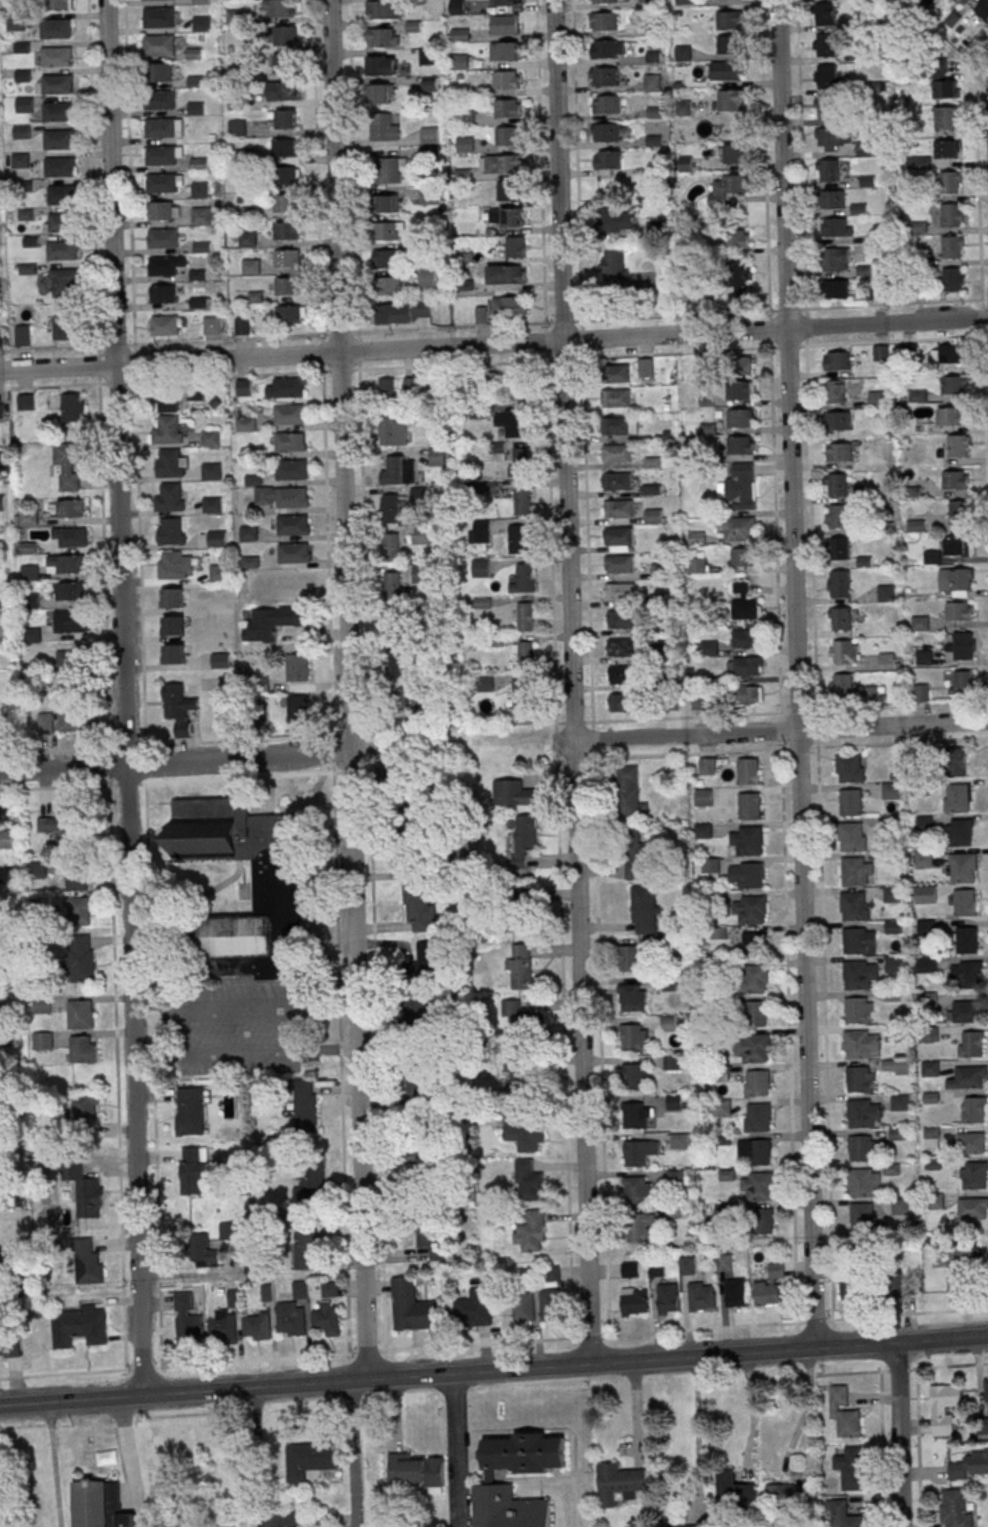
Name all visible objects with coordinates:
building: (157, 0)
building: (606, 1)
building: (966, 1)
building: (505, 3)
building: (60, 5)
building: (283, 8)
building: (384, 9)
building: (986, 9)
building: (823, 14)
building: (159, 17)
building: (729, 20)
building: (602, 21)
building: (15, 22)
building: (201, 23)
building: (505, 25)
building: (56, 28)
building: (286, 33)
building: (459, 35)
building: (381, 36)
building: (729, 44)
building: (827, 44)
building: (160, 45)
building: (607, 49)
building: (507, 51)
building: (682, 53)
building: (428, 56)
building: (57, 57)
building: (459, 61)
building: (283, 65)
building: (381, 65)
building: (726, 71)
building: (159, 72)
building: (603, 76)
building: (827, 76)
building: (507, 80)
building: (58, 84)
building: (430, 86)
building: (945, 89)
building: (284, 91)
building: (382, 93)
building: (160, 100)
building: (729, 101)
building: (24, 104)
building: (606, 104)
building: (508, 108)
building: (824, 108)
building: (58, 111)
building: (465, 117)
building: (948, 117)
building: (286, 119)
building: (160, 127)
building: (383, 127)
building: (237, 128)
building: (608, 132)
building: (429, 135)
building: (509, 135)
building: (59, 139)
building: (832, 139)
building: (465, 144)
building: (284, 147)
building: (947, 148)
building: (736, 153)
building: (160, 155)
building: (608, 159)
building: (20, 160)
building: (501, 164)
building: (60, 166)
building: (391, 170)
building: (827, 170)
building: (287, 175)
road: (93, 176)
building: (950, 182)
building: (161, 183)
building: (729, 185)
building: (200, 190)
building: (507, 191)
building: (61, 194)
building: (428, 196)
building: (832, 199)
building: (285, 202)
building: (387, 204)
building: (162, 210)
building: (951, 215)
building: (201, 216)
building: (506, 218)
building: (617, 218)
building: (59, 222)
building: (835, 227)
building: (285, 230)
building: (388, 230)
building: (163, 237)
building: (736, 238)
building: (247, 239)
building: (915, 239)
building: (508, 244)
building: (952, 247)
building: (61, 249)
building: (287, 258)
building: (384, 258)
building: (835, 259)
building: (165, 265)
building: (251, 266)
building: (614, 266)
building: (509, 273)
building: (741, 273)
building: (427, 279)
building: (953, 279)
building: (63, 283)
building: (389, 285)
building: (287, 286)
building: (835, 289)
building: (162, 293)
building: (509, 306)
building: (403, 312)
building: (290, 314)
building: (481, 315)
road: (669, 317)
building: (212, 324)
building: (164, 325)
building: (242, 326)
building: (62, 327)
building: (20, 334)
road: (339, 334)
road: (228, 339)
road: (493, 343)
road: (115, 346)
road: (51, 349)
building: (880, 353)
building: (947, 353)
building: (836, 361)
road: (98, 365)
building: (739, 366)
building: (646, 367)
building: (617, 373)
road: (134, 376)
building: (513, 385)
building: (954, 385)
building: (243, 387)
building: (288, 387)
building: (398, 389)
building: (741, 390)
building: (834, 390)
building: (195, 391)
building: (616, 398)
building: (877, 399)
building: (25, 402)
building: (166, 403)
building: (72, 407)
building: (289, 413)
building: (949, 416)
building: (740, 418)
building: (837, 421)
building: (512, 422)
building: (245, 424)
building: (618, 426)
building: (167, 429)
building: (393, 431)
building: (291, 442)
building: (740, 445)
building: (956, 446)
building: (838, 452)
building: (617, 453)
building: (436, 456)
building: (518, 461)
building: (170, 463)
building: (68, 464)
building: (291, 469)
building: (397, 469)
building: (211, 471)
building: (955, 480)
building: (617, 481)
building: (839, 485)
building: (740, 486)
building: (418, 495)
building: (291, 497)
building: (169, 498)
building: (522, 500)
building: (211, 505)
building: (68, 508)
building: (389, 508)
building: (619, 509)
building: (958, 512)
building: (837, 516)
building: (27, 518)
building: (293, 525)
building: (740, 528)
building: (171, 532)
building: (479, 532)
building: (248, 534)
road: (363, 536)
building: (69, 537)
building: (216, 538)
road: (326, 539)
building: (520, 539)
building: (618, 539)
building: (957, 546)
building: (391, 547)
building: (838, 548)
building: (293, 552)
building: (744, 557)
building: (65, 564)
building: (615, 564)
building: (173, 565)
road: (104, 566)
building: (480, 568)
building: (29, 572)
building: (217, 572)
building: (522, 579)
building: (955, 581)
building: (838, 584)
building: (392, 586)
building: (69, 591)
building: (619, 591)
building: (885, 592)
building: (172, 598)
building: (744, 603)
building: (958, 611)
building: (525, 617)
building: (839, 619)
building: (620, 620)
building: (70, 621)
building: (270, 622)
building: (919, 623)
building: (173, 626)
building: (393, 631)
building: (31, 635)
building: (746, 638)
building: (961, 646)
building: (621, 647)
building: (709, 647)
building: (843, 651)
building: (174, 654)
building: (524, 655)
building: (219, 660)
building: (70, 661)
building: (888, 661)
building: (393, 663)
building: (744, 666)
building: (296, 667)
road: (795, 673)
building: (621, 675)
road: (570, 681)
building: (961, 681)
building: (485, 683)
building: (842, 685)
road: (348, 689)
building: (919, 693)
building: (521, 694)
building: (747, 695)
road: (125, 697)
building: (698, 701)
building: (395, 702)
building: (621, 703)
building: (178, 707)
building: (297, 709)
building: (68, 719)
road: (892, 725)
road: (350, 734)
road: (365, 734)
road: (673, 734)
road: (240, 740)
road: (450, 745)
road: (128, 746)
road: (57, 750)
road: (369, 751)
road: (333, 754)
building: (956, 762)
road: (175, 764)
road: (145, 765)
building: (706, 766)
road: (109, 767)
building: (850, 767)
road: (351, 771)
road: (366, 771)
building: (747, 771)
road: (239, 777)
road: (127, 784)
road: (56, 787)
building: (890, 790)
building: (628, 791)
building: (513, 792)
building: (703, 797)
building: (956, 798)
building: (850, 802)
building: (0, 805)
building: (749, 806)
building: (60, 826)
building: (703, 830)
building: (959, 832)
building: (852, 837)
building: (523, 838)
building: (6, 839)
building: (747, 839)
building: (635, 854)
building: (710, 865)
building: (962, 868)
building: (37, 869)
building: (856, 871)
building: (746, 874)
building: (7, 877)
building: (77, 881)
road: (335, 885)
building: (277, 888)
building: (924, 894)
road: (148, 895)
building: (964, 902)
building: (853, 906)
building: (418, 908)
building: (522, 909)
building: (80, 910)
building: (644, 910)
building: (749, 910)
building: (967, 939)
building: (859, 940)
building: (751, 944)
building: (81, 958)
building: (426, 958)
building: (630, 958)
building: (894, 964)
building: (926, 964)
building: (522, 966)
building: (967, 973)
building: (860, 975)
building: (754, 979)
building: (671, 983)
building: (632, 997)
building: (42, 1005)
road: (339, 1009)
building: (859, 1010)
road: (242, 1011)
building: (424, 1011)
building: (963, 1011)
building: (755, 1013)
building: (80, 1014)
road: (152, 1017)
building: (668, 1022)
building: (521, 1024)
road: (339, 1029)
parking lot: (250, 1032)
building: (893, 1033)
road: (152, 1037)
building: (634, 1037)
building: (42, 1041)
building: (970, 1043)
building: (861, 1044)
building: (755, 1048)
building: (81, 1049)
road: (340, 1049)
road: (244, 1055)
road: (376, 1056)
road: (153, 1057)
building: (672, 1062)
building: (895, 1067)
building: (930, 1068)
road: (116, 1074)
building: (635, 1076)
building: (968, 1078)
building: (860, 1079)
building: (524, 1081)
building: (757, 1083)
building: (419, 1087)
building: (674, 1101)
building: (899, 1102)
building: (305, 1105)
building: (84, 1106)
building: (721, 1108)
building: (973, 1109)
building: (189, 1111)
building: (863, 1113)
building: (641, 1116)
building: (757, 1117)
building: (521, 1132)
building: (931, 1135)
building: (679, 1140)
building: (970, 1143)
building: (861, 1148)
building: (755, 1151)
building: (640, 1152)
building: (193, 1169)
building: (428, 1171)
building: (973, 1175)
building: (528, 1181)
building: (863, 1182)
building: (757, 1186)
building: (307, 1188)
building: (637, 1190)
building: (88, 1197)
building: (935, 1201)
road: (344, 1204)
building: (900, 1206)
building: (973, 1208)
road: (157, 1215)
building: (863, 1216)
building: (761, 1221)
building: (640, 1228)
building: (531, 1231)
building: (427, 1241)
building: (195, 1248)
building: (306, 1251)
building: (86, 1261)
building: (725, 1262)
building: (687, 1265)
building: (631, 1269)
building: (898, 1283)
building: (771, 1286)
building: (852, 1287)
building: (300, 1289)
building: (329, 1289)
building: (735, 1293)
building: (702, 1296)
building: (668, 1298)
building: (635, 1302)
building: (551, 1305)
building: (412, 1307)
building: (474, 1308)
building: (523, 1308)
building: (290, 1318)
building: (326, 1319)
building: (187, 1320)
building: (78, 1326)
building: (257, 1326)
building: (223, 1327)
road: (683, 1330)
building: (10, 1339)
road: (367, 1351)
road: (255, 1360)
road: (142, 1368)
road: (127, 1369)
road: (493, 1370)
road: (62, 1374)
building: (985, 1390)
building: (945, 1403)
road: (751, 1407)
building: (844, 1412)
building: (983, 1426)
road: (696, 1429)
road: (898, 1435)
road: (789, 1449)
road: (458, 1450)
road: (352, 1453)
road: (254, 1457)
building: (309, 1460)
road: (131, 1462)
road: (53, 1465)
building: (970, 1466)
building: (851, 1468)
building: (418, 1471)
building: (489, 1477)
building: (618, 1483)
building: (733, 1490)
building: (787, 1494)
building: (99, 1504)
building: (955, 1508)
building: (845, 1514)
building: (284, 1519)

